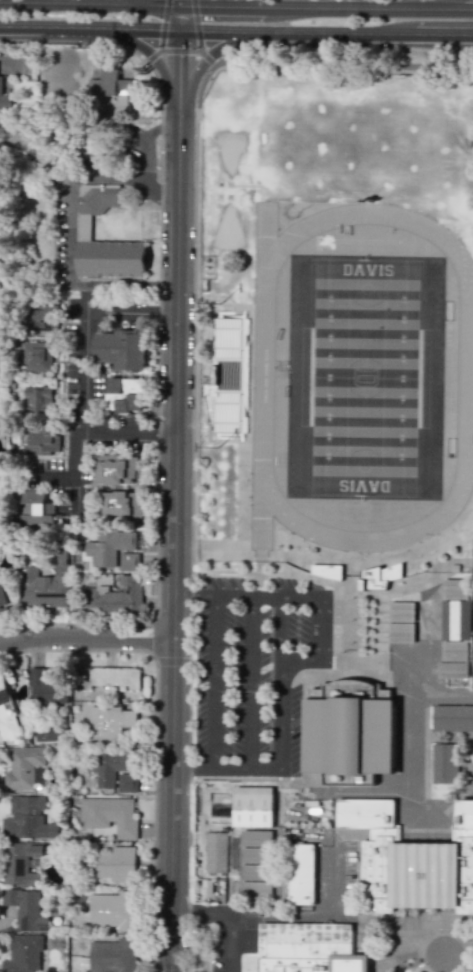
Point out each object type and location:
road: (89, 3)
traffic signals: (180, 4)
road: (221, 4)
road: (433, 4)
road: (368, 7)
road: (180, 16)
road: (163, 24)
road: (196, 25)
road: (90, 28)
road: (297, 32)
road: (443, 32)
road: (180, 49)
road: (150, 53)
road: (152, 54)
road: (206, 57)
road: (205, 58)
road: (342, 63)
road: (180, 75)
building: (110, 91)
building: (4, 99)
park: (343, 145)
park: (229, 150)
road: (179, 151)
road: (146, 156)
road: (162, 179)
building: (97, 198)
park: (226, 230)
road: (69, 245)
building: (111, 258)
road: (131, 308)
building: (44, 317)
building: (121, 349)
building: (38, 356)
building: (226, 377)
park: (365, 377)
track: (360, 378)
building: (125, 394)
building: (38, 399)
road: (83, 404)
road: (192, 414)
building: (40, 439)
building: (116, 469)
road: (72, 472)
road: (78, 495)
building: (121, 504)
building: (37, 510)
building: (114, 550)
building: (328, 570)
road: (176, 576)
building: (379, 576)
building: (48, 583)
building: (455, 589)
building: (116, 597)
building: (3, 606)
building: (401, 611)
building: (455, 619)
road: (136, 628)
road: (279, 628)
building: (401, 631)
road: (87, 639)
building: (455, 650)
road: (293, 660)
road: (379, 667)
building: (452, 669)
parking lot: (255, 671)
building: (109, 676)
road: (215, 682)
road: (250, 683)
building: (47, 688)
building: (453, 718)
building: (110, 722)
building: (351, 731)
building: (48, 732)
road: (410, 749)
building: (446, 764)
building: (24, 767)
building: (112, 767)
building: (128, 782)
building: (254, 805)
building: (110, 814)
building: (363, 815)
building: (464, 817)
building: (27, 818)
building: (217, 851)
building: (255, 855)
building: (21, 862)
building: (116, 863)
building: (301, 874)
building: (417, 878)
building: (256, 889)
building: (26, 908)
building: (114, 910)
road: (228, 913)
road: (313, 913)
building: (304, 947)
building: (23, 954)
building: (113, 955)
road: (393, 959)

